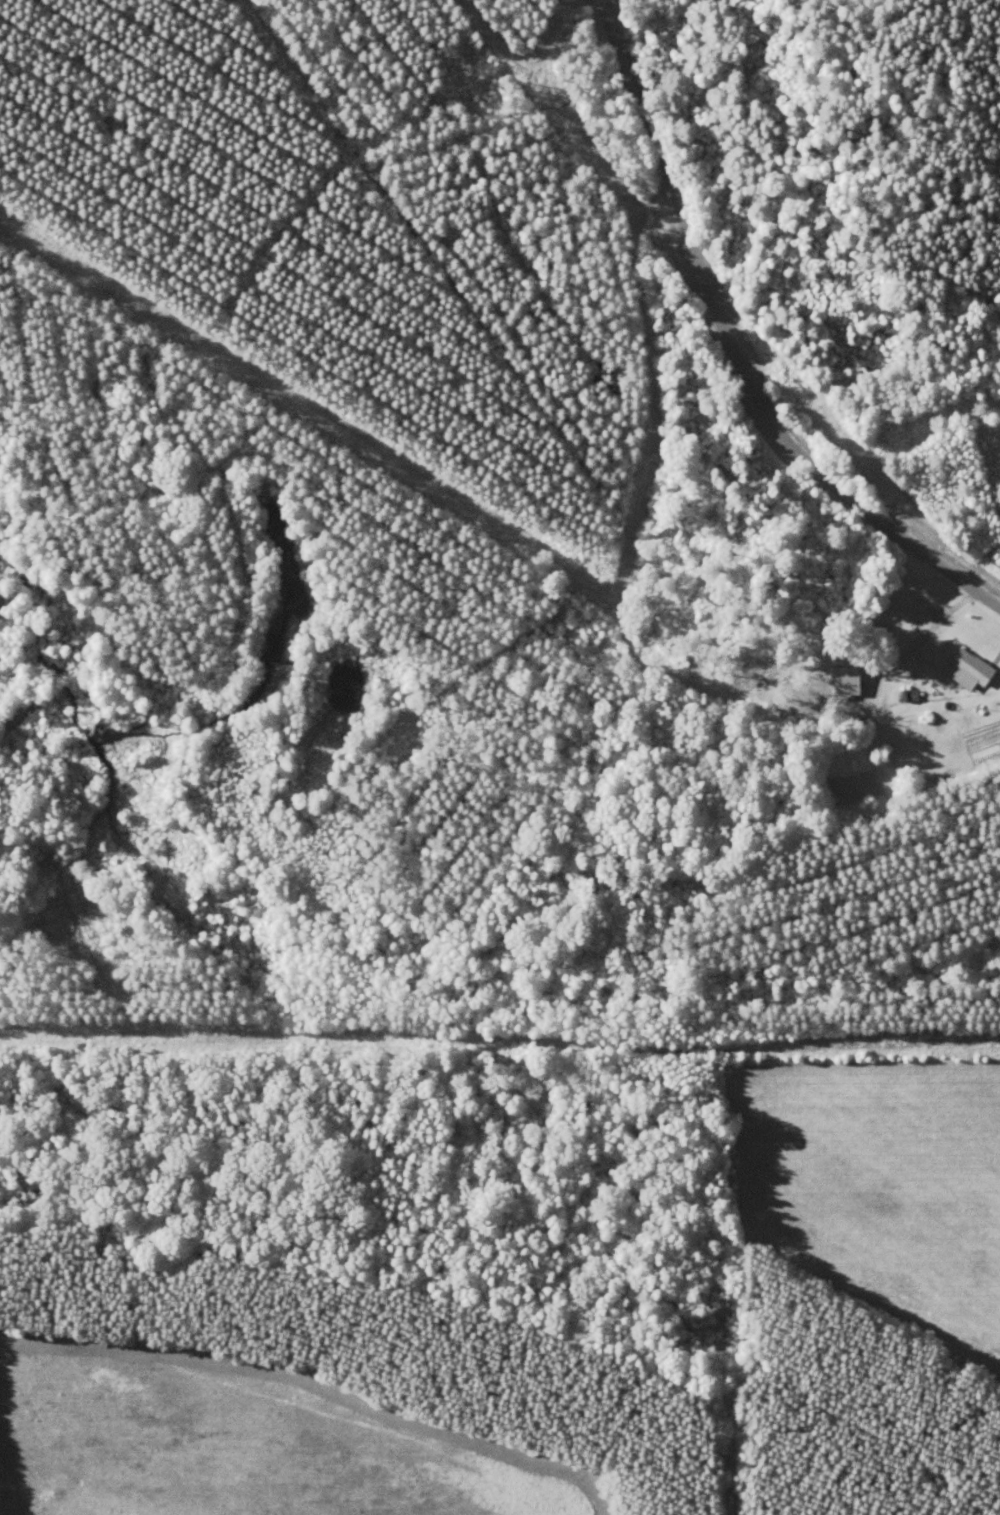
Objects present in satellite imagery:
road: (722, 357)
building: (967, 666)
building: (859, 689)

